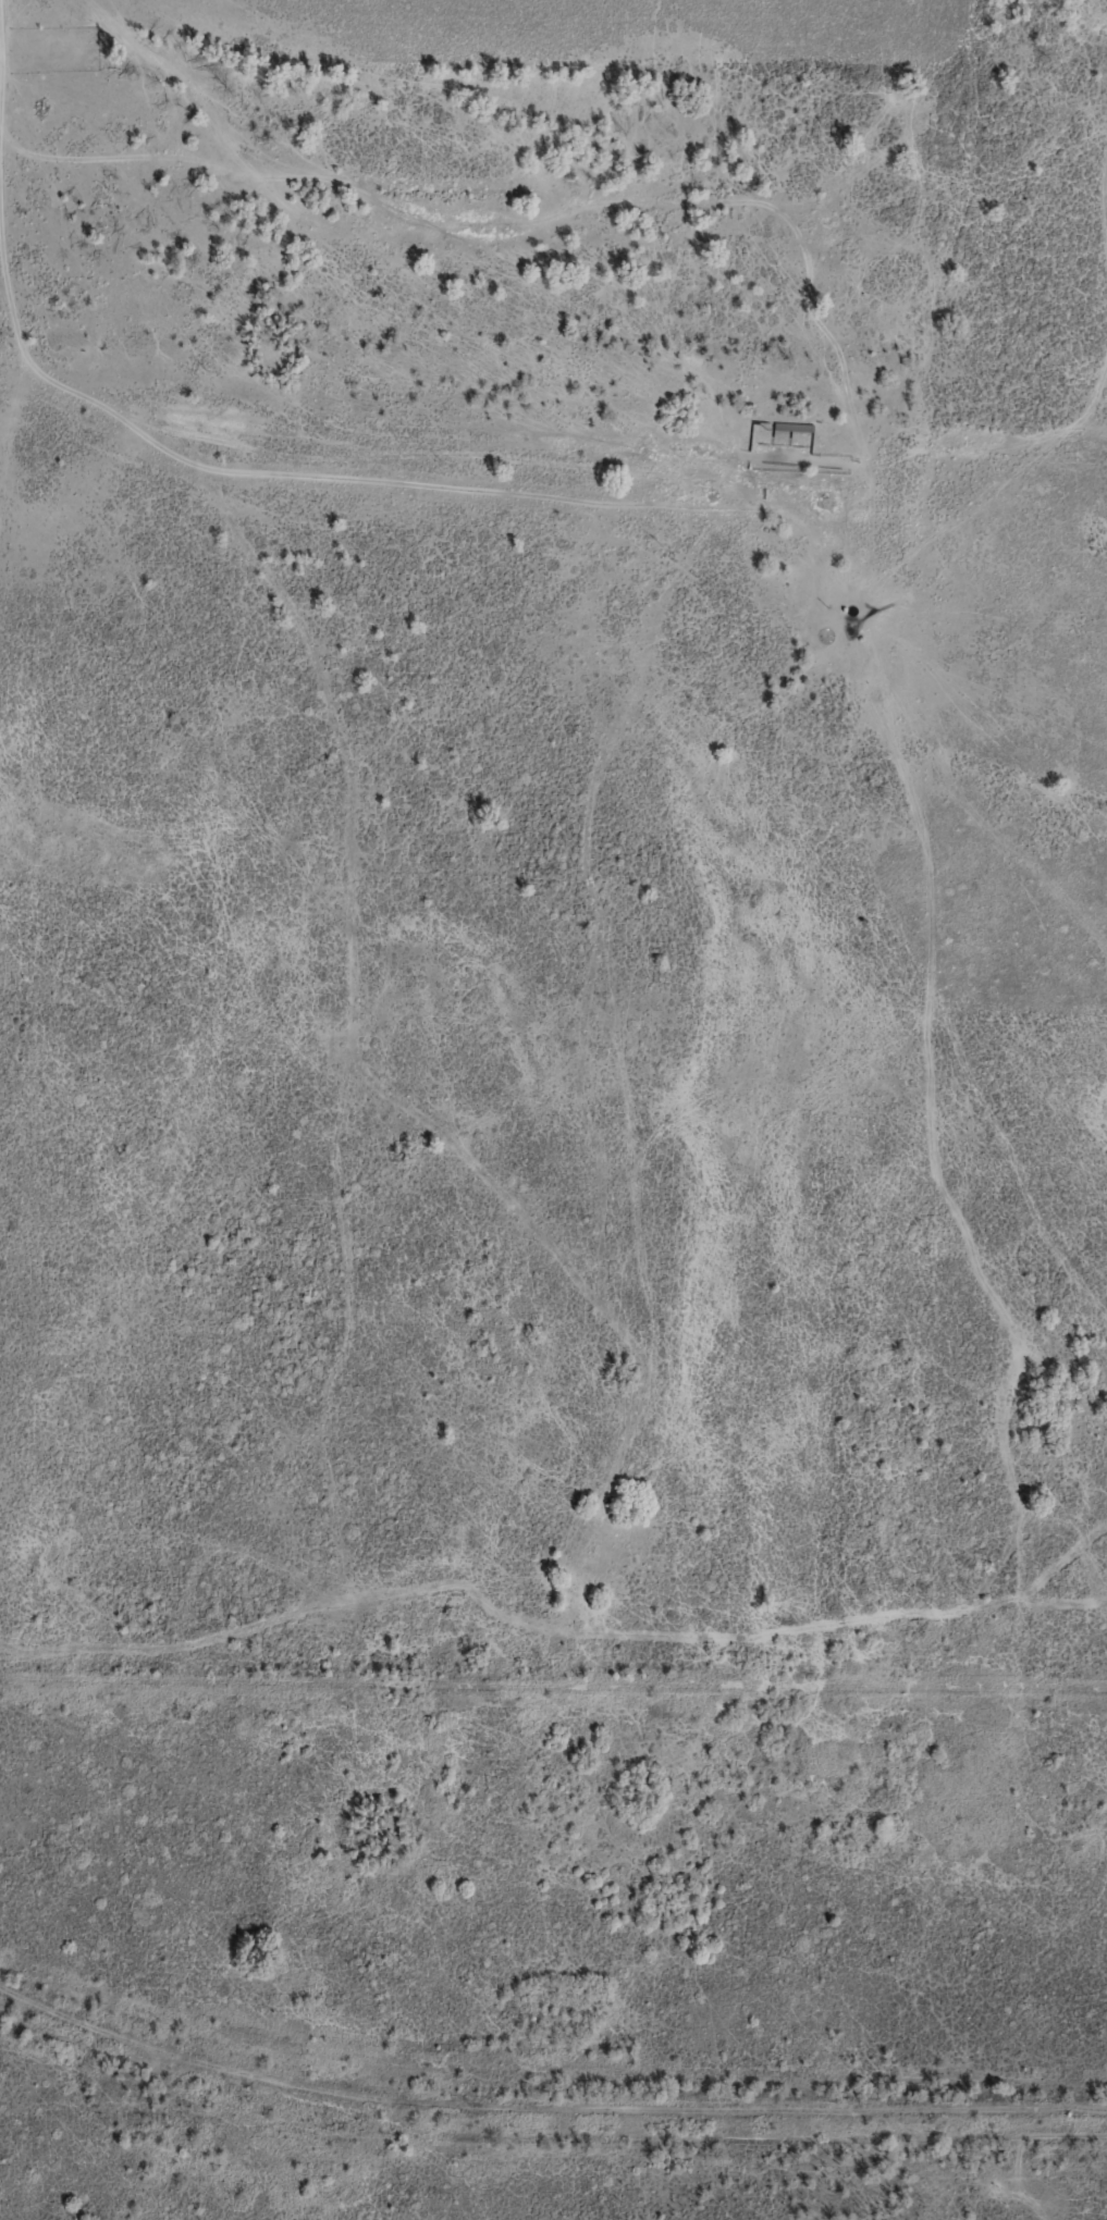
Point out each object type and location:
building: (792, 427)

